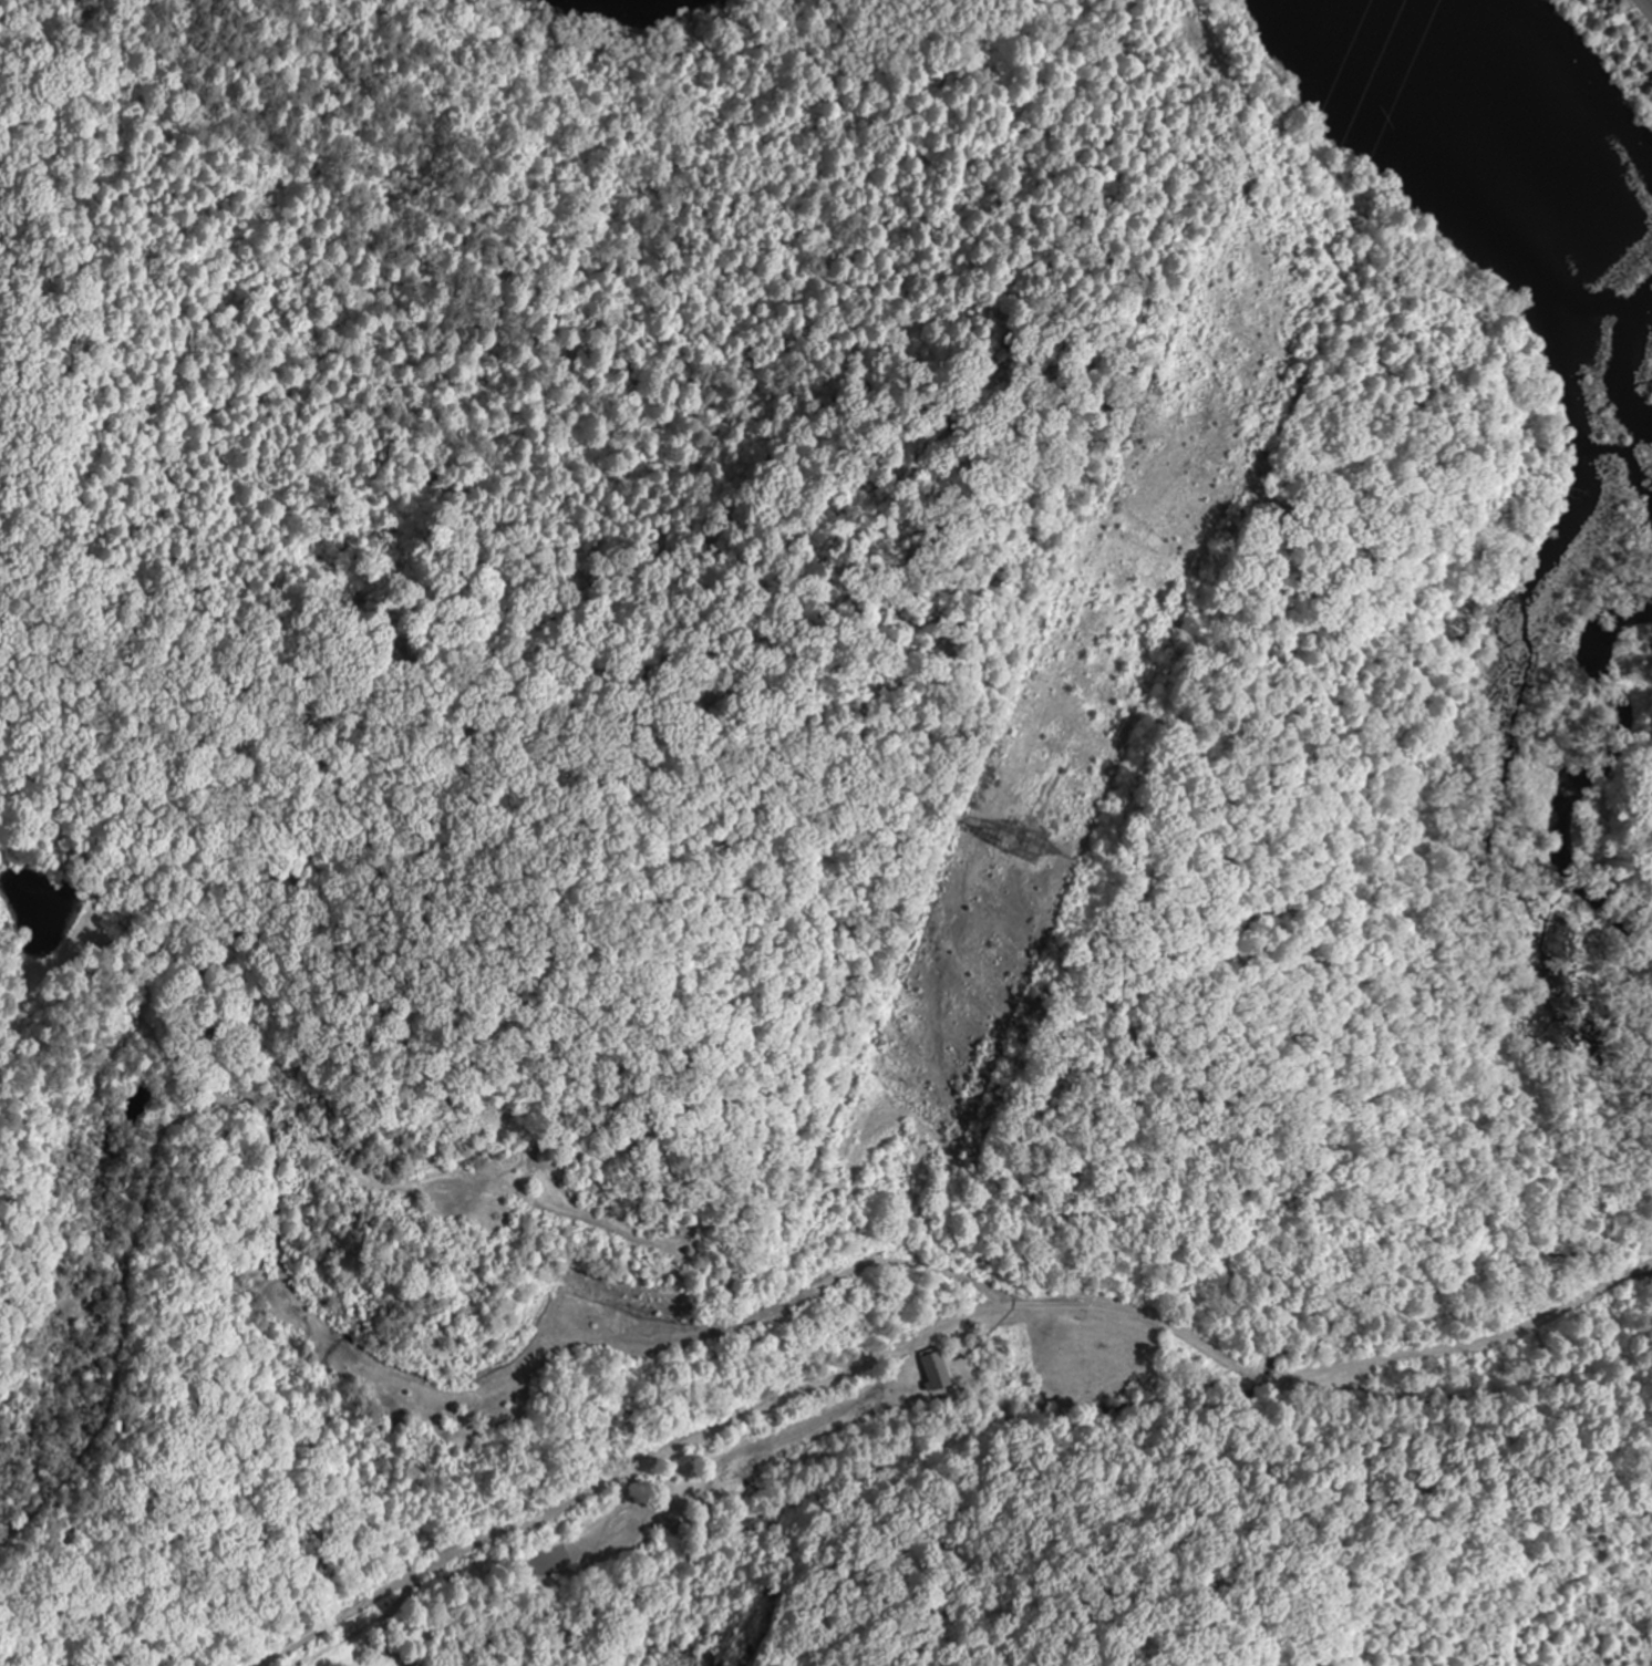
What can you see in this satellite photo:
road: (1643, 10)
building: (931, 1369)

